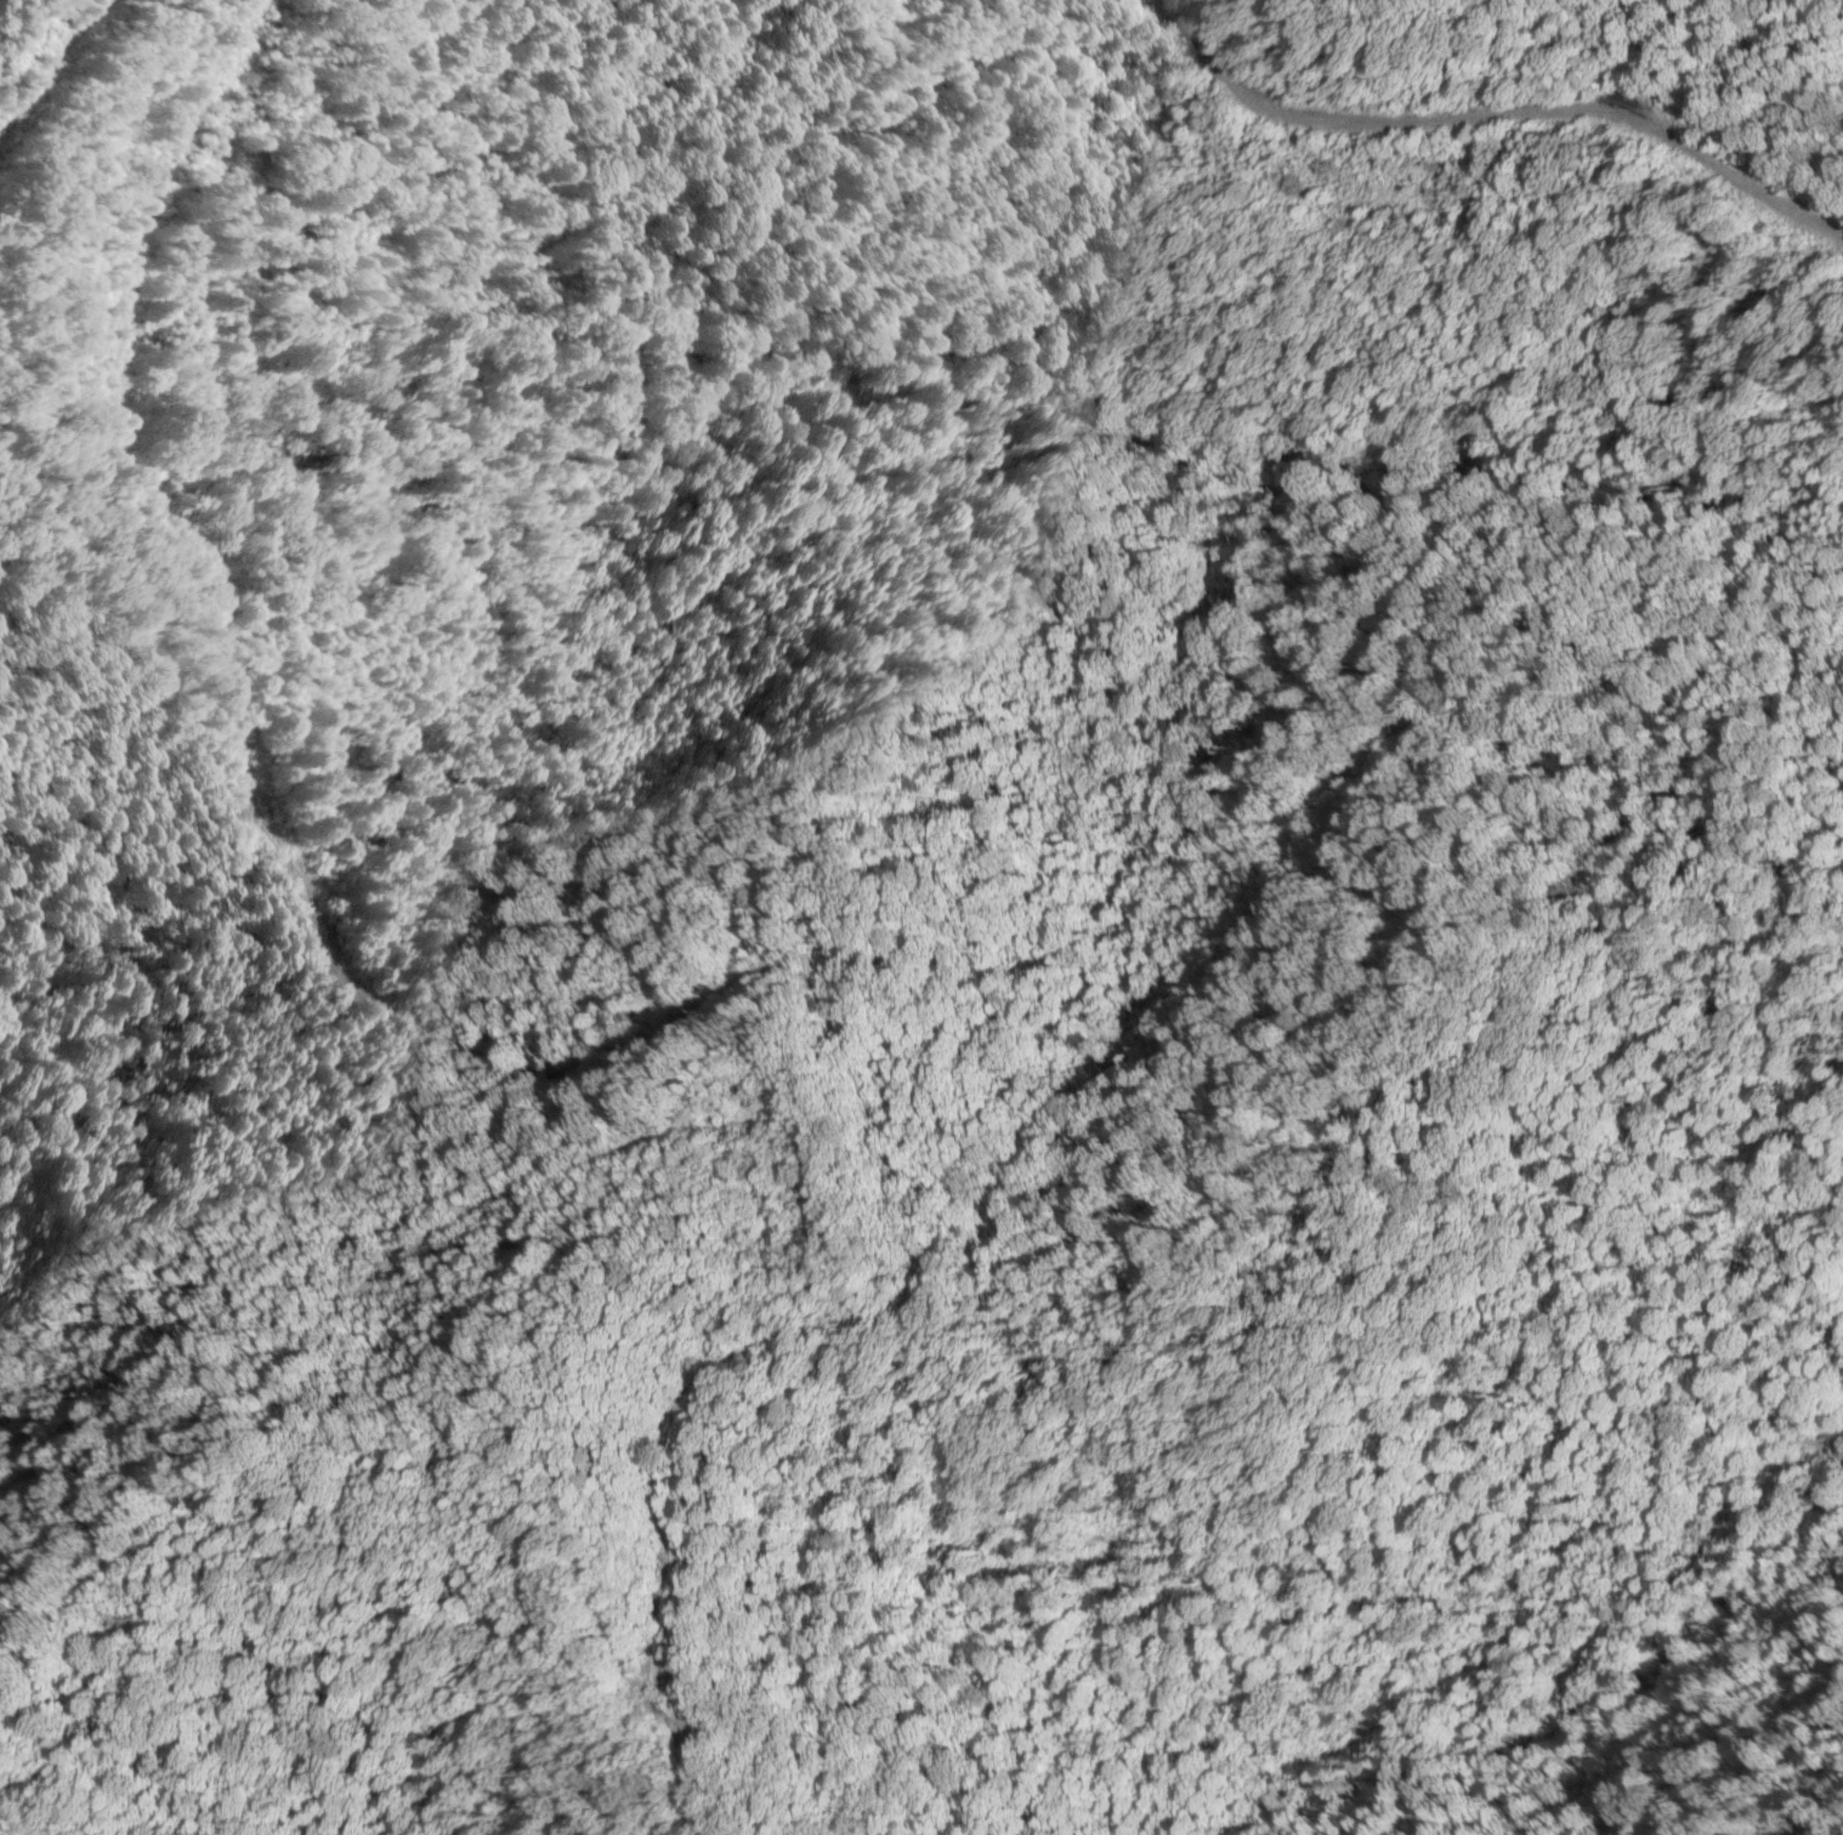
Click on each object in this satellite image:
road: (52, 63)
road: (1492, 106)

